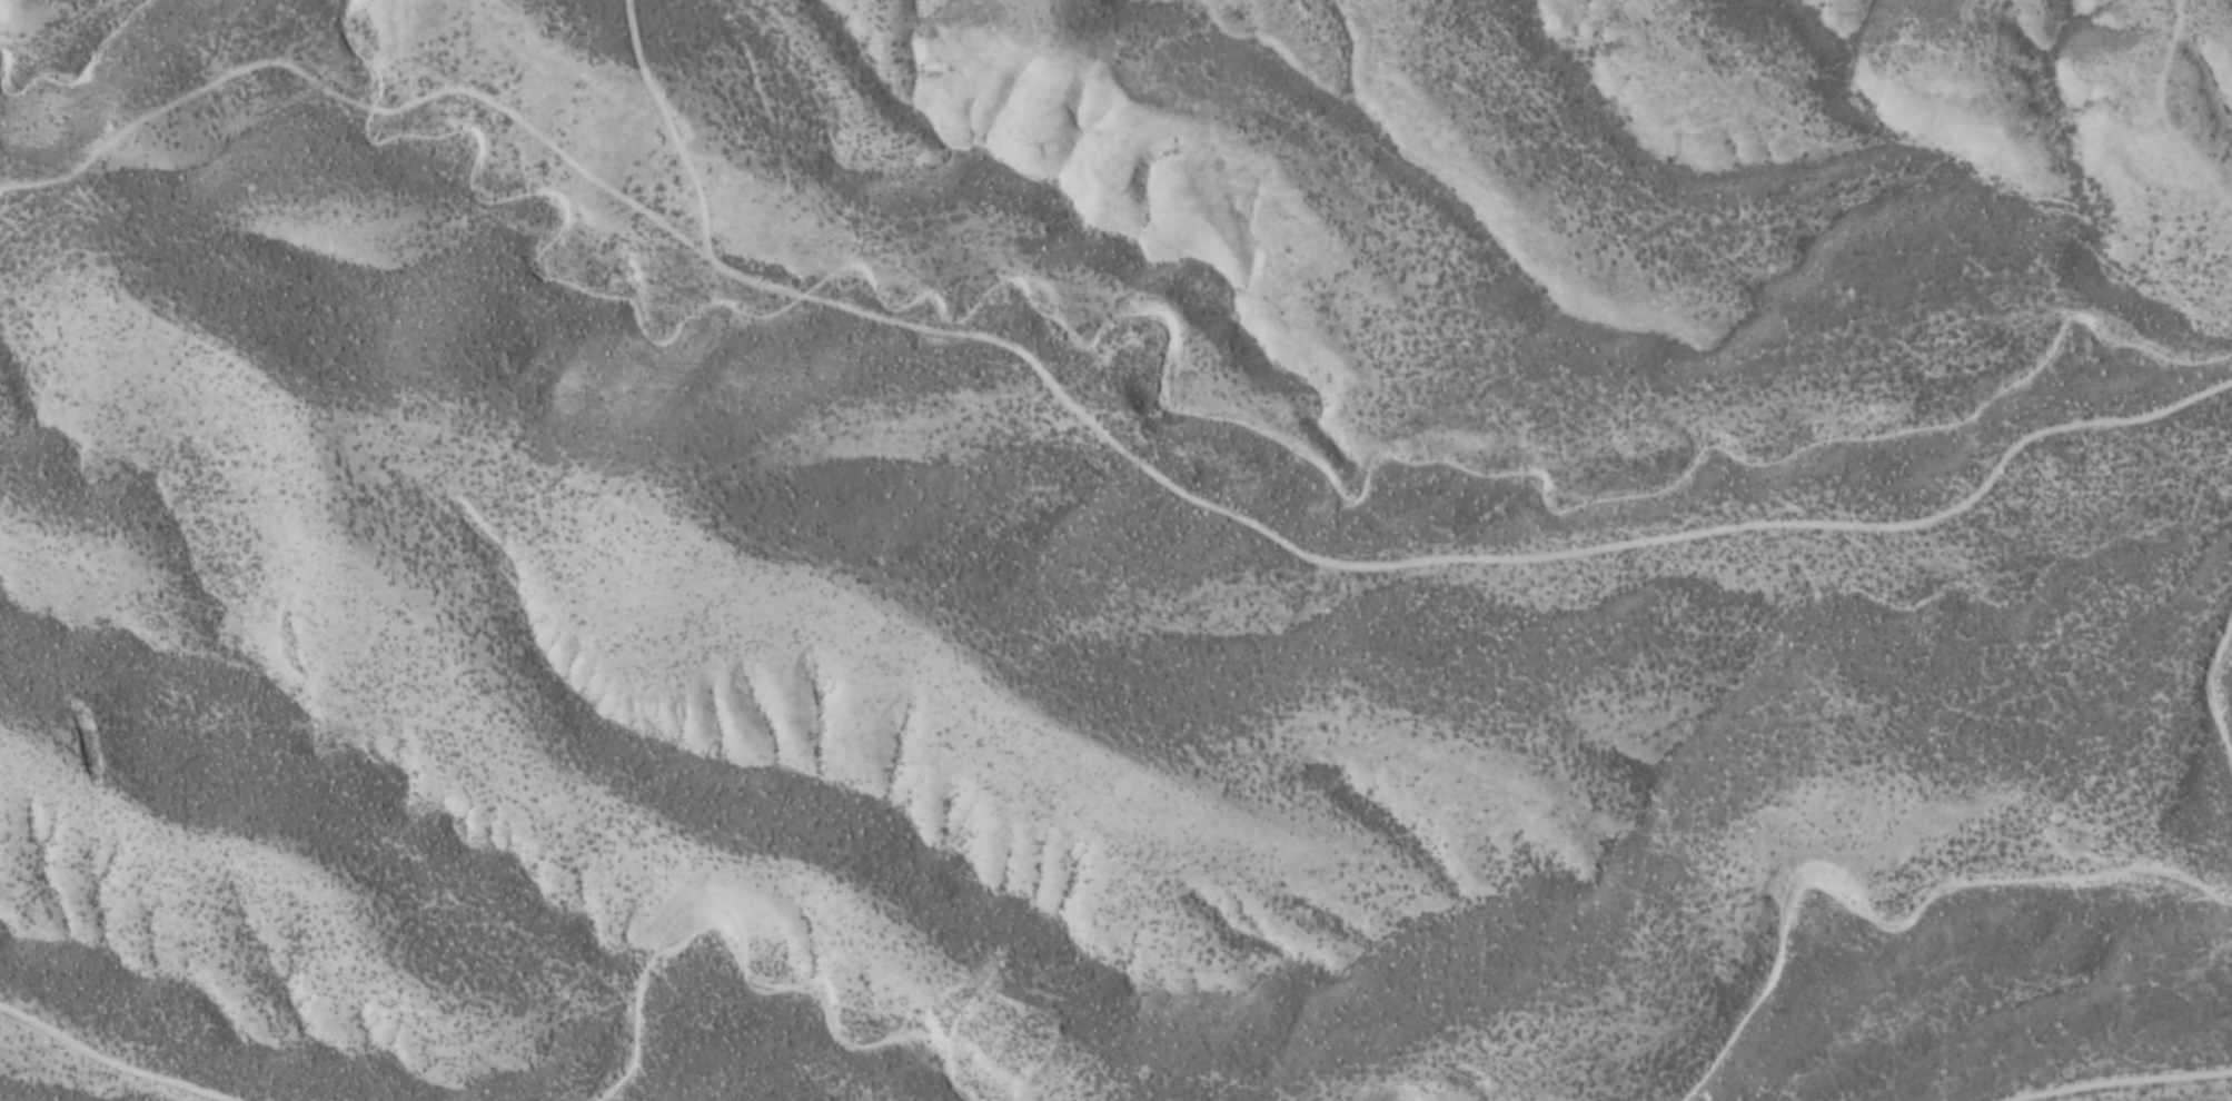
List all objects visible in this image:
road: (2126, 1082)

